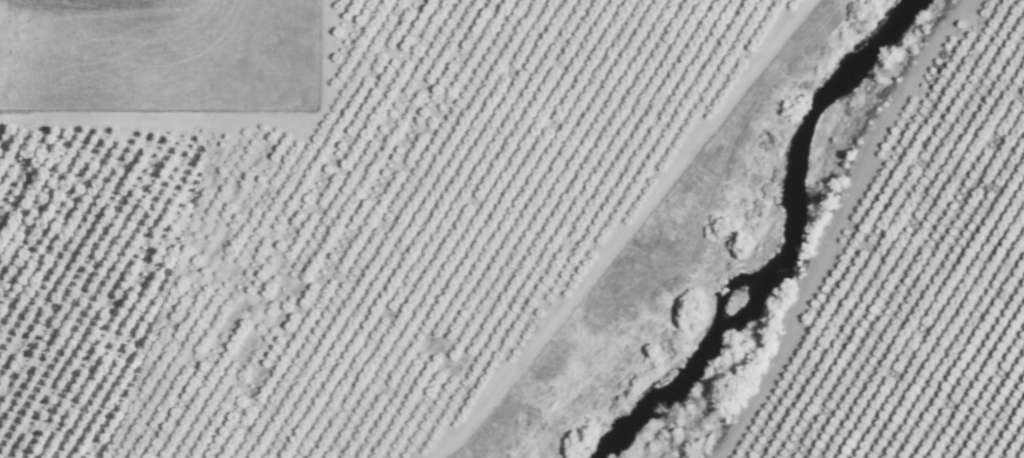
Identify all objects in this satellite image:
river: (775, 238)

